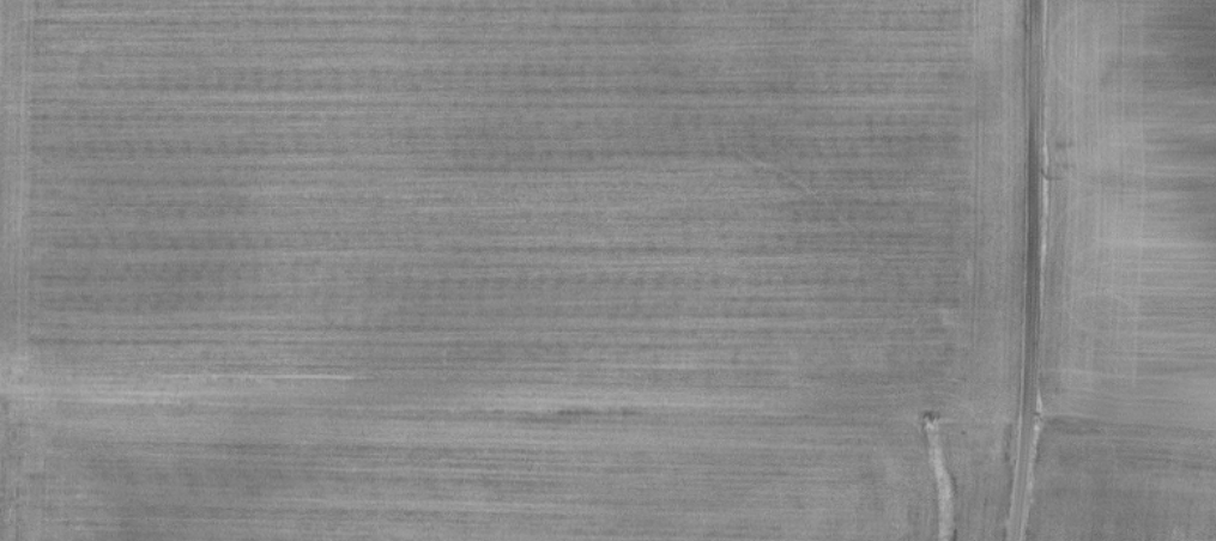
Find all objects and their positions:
road: (1032, 270)

